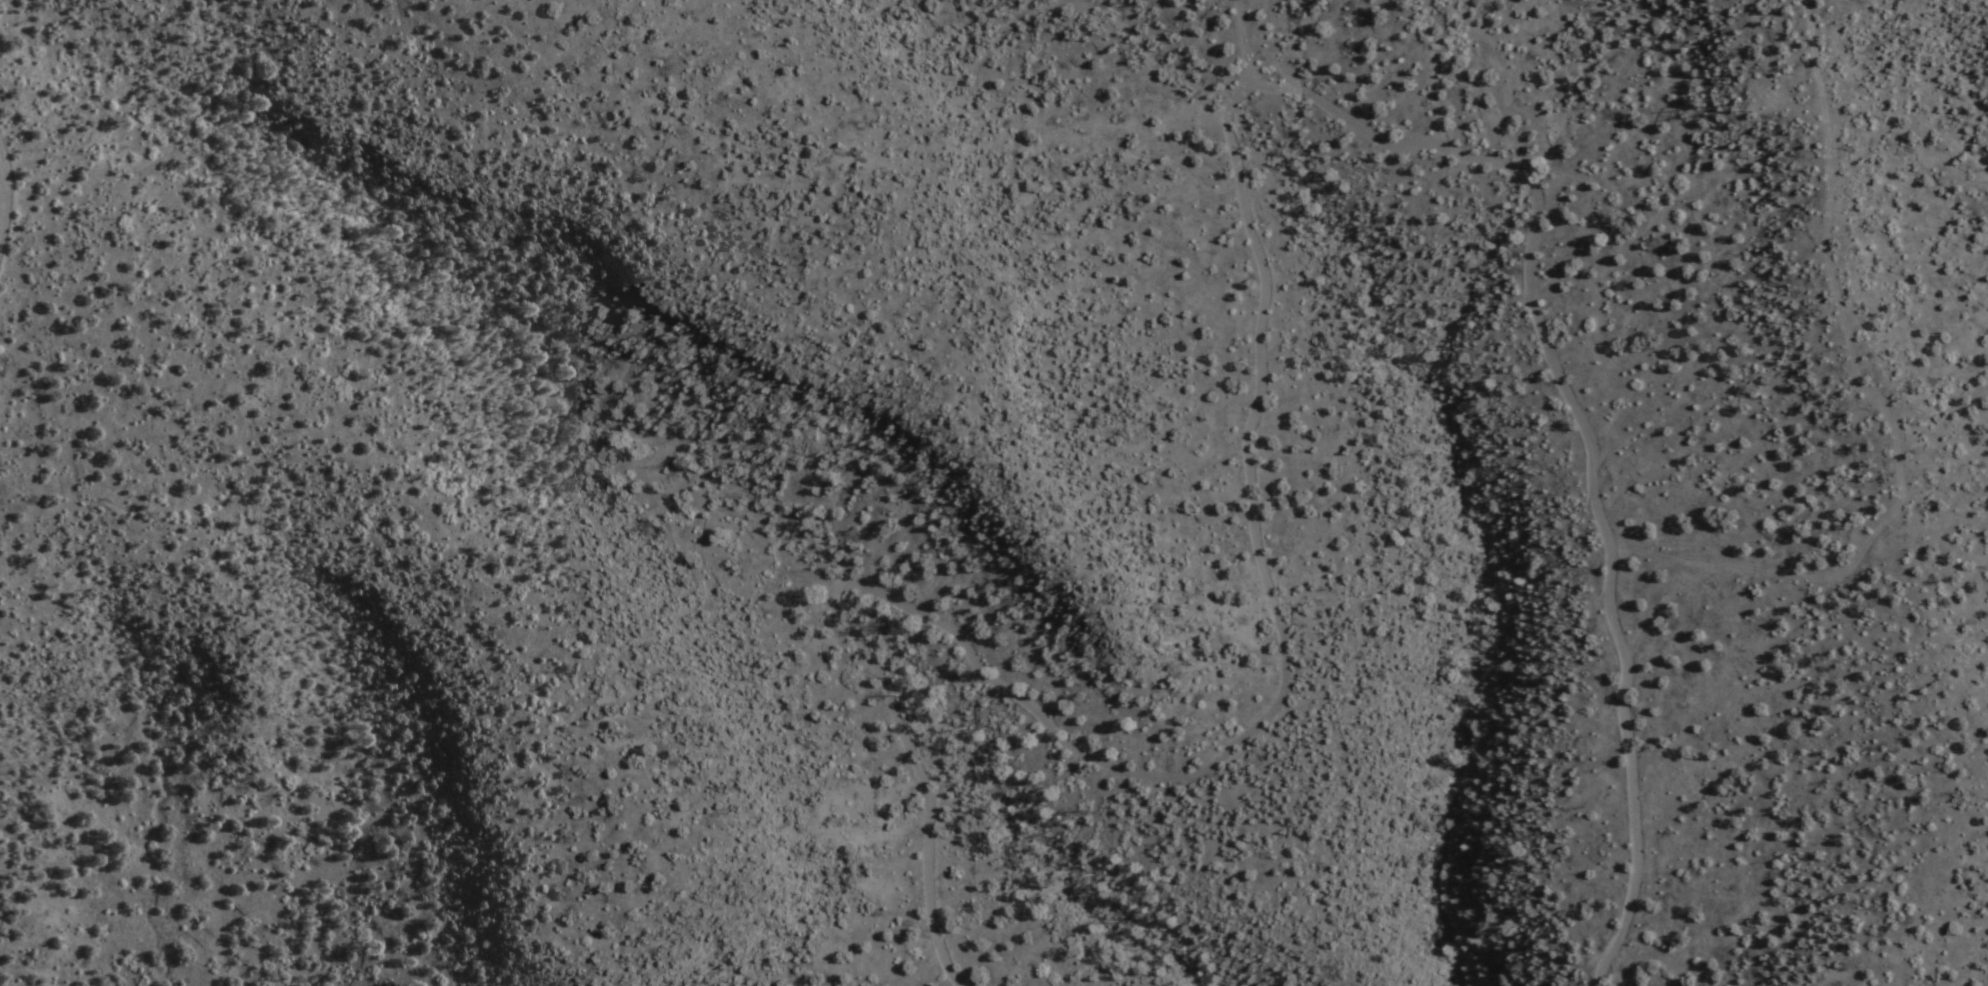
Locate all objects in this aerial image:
road: (1260, 305)
road: (1892, 417)

